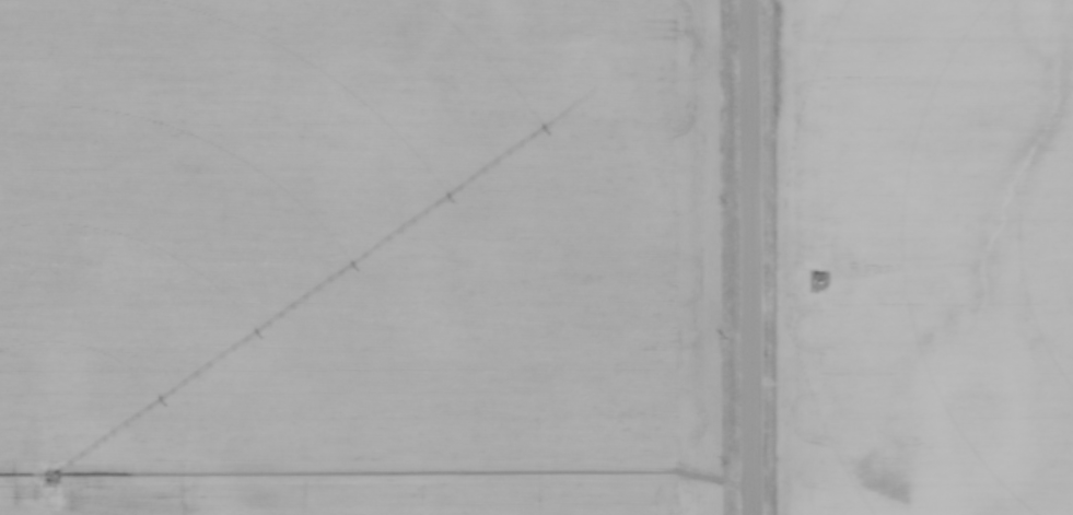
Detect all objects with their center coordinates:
road: (747, 257)

